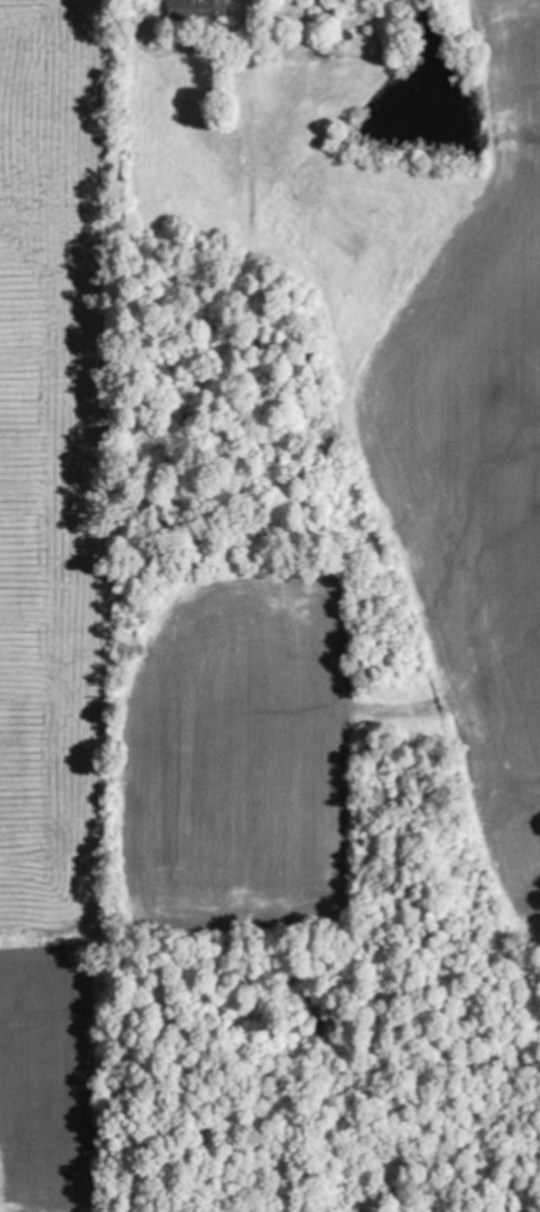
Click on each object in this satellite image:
building: (198, 10)

